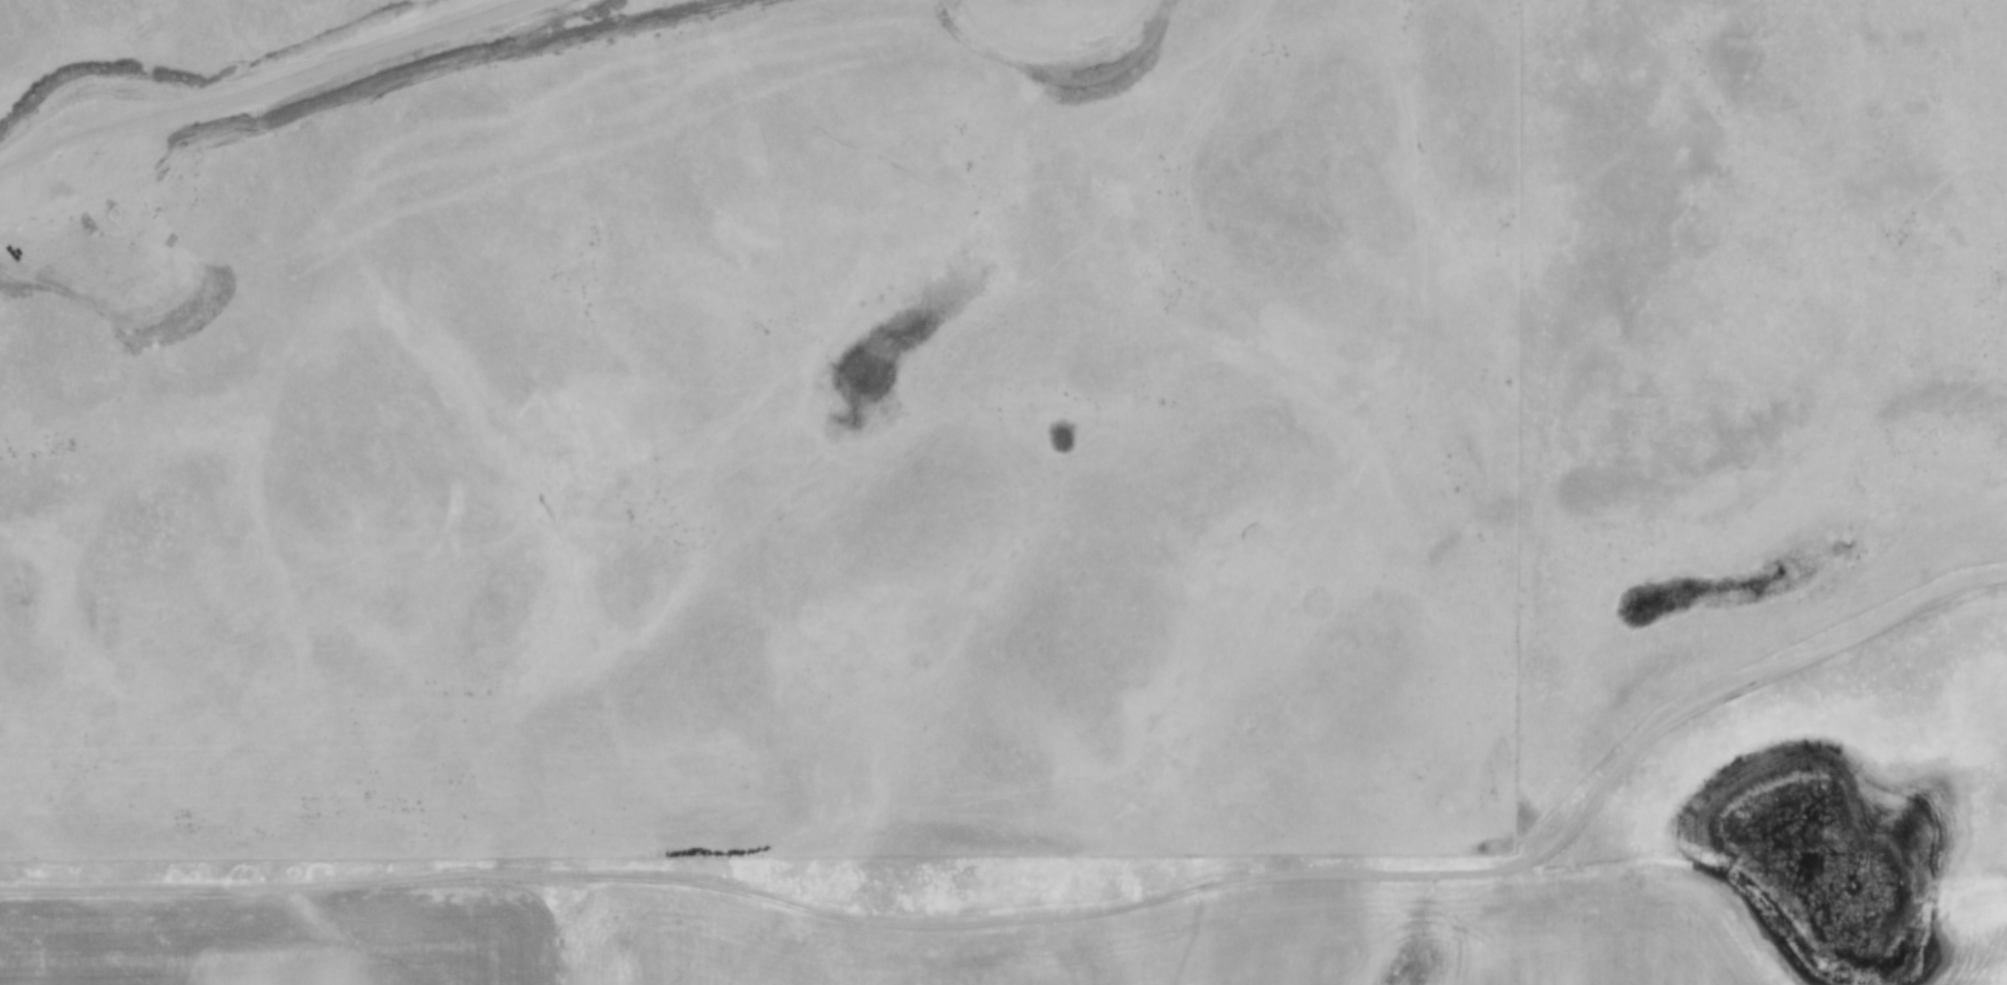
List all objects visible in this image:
wind turbine: (117, 210)
road: (1049, 925)

